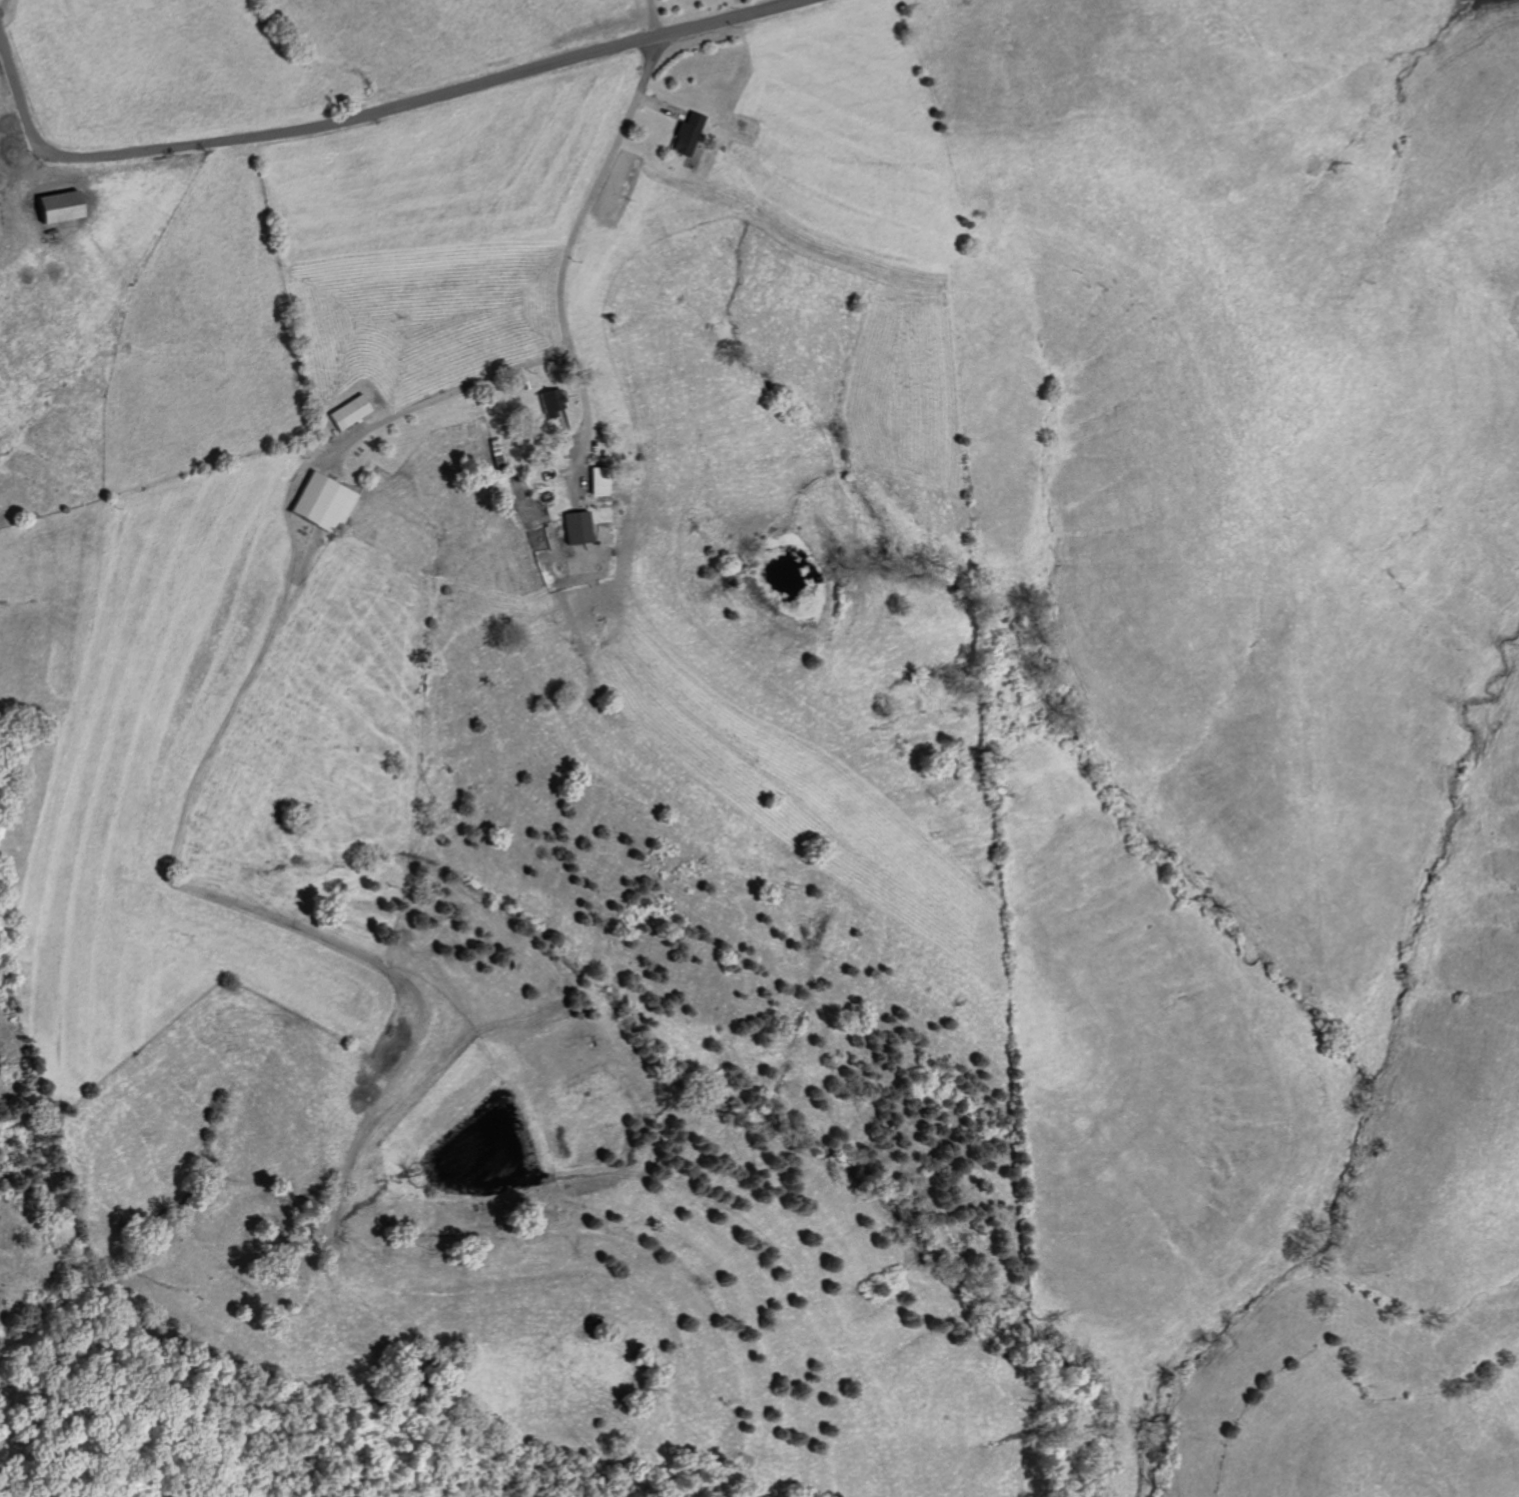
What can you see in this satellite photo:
road: (362, 117)
building: (685, 133)
building: (54, 206)
road: (570, 236)
road: (444, 395)
building: (549, 402)
building: (347, 412)
building: (596, 480)
building: (320, 501)
building: (574, 527)

